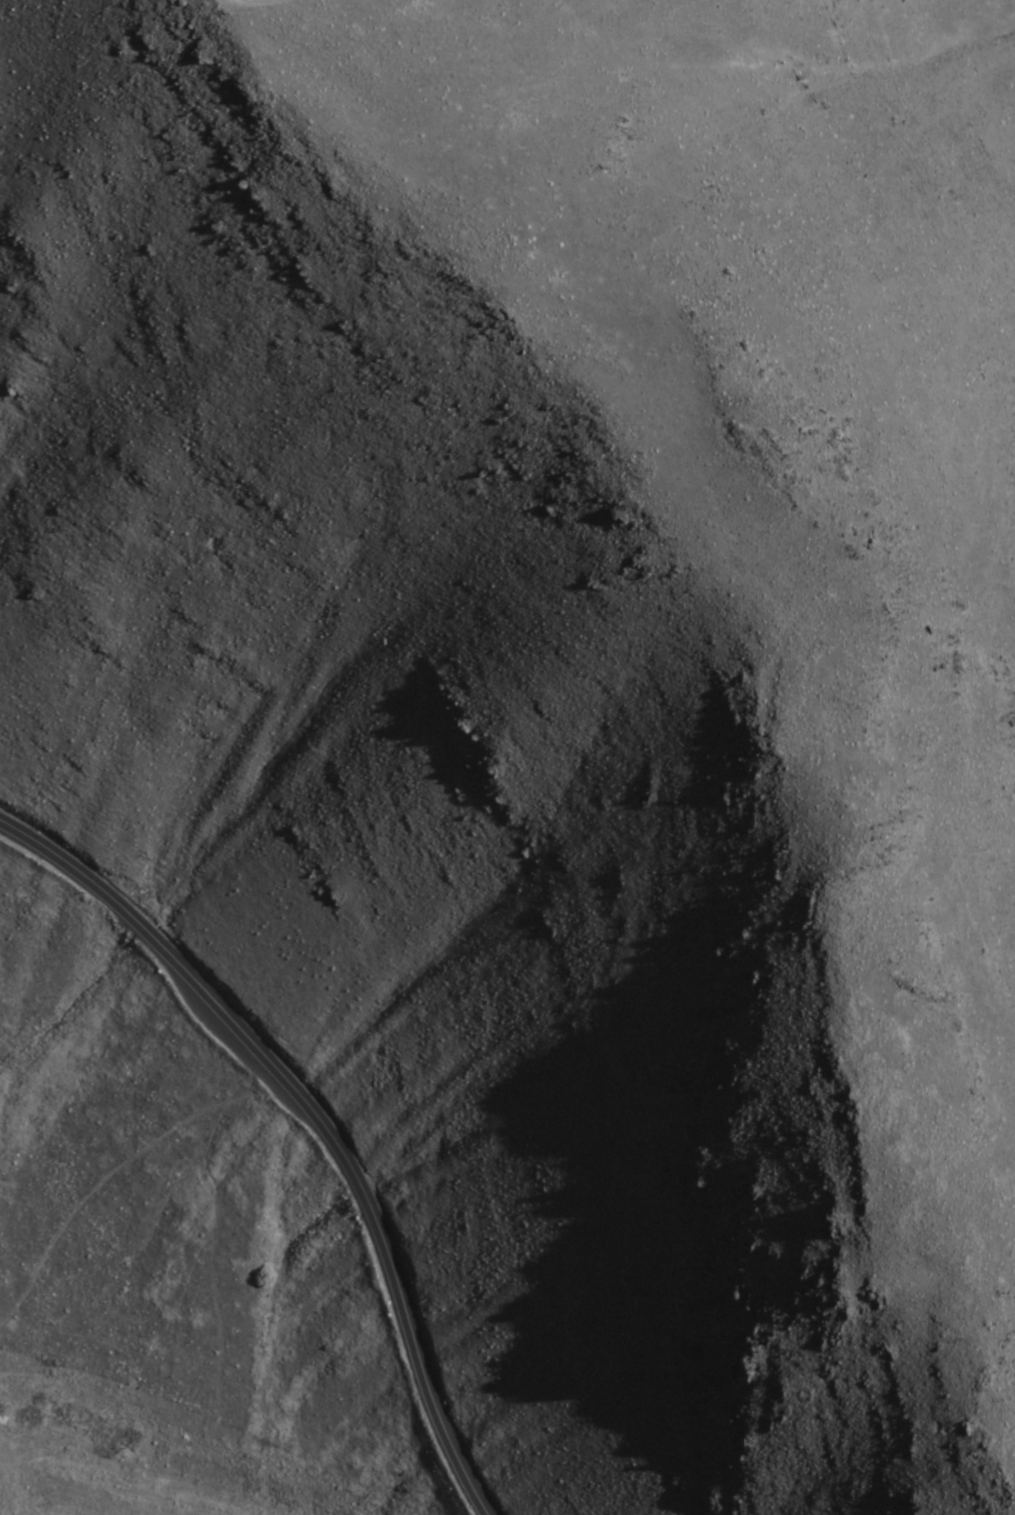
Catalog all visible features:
road: (269, 10)
road: (317, 1116)
road: (154, 1453)

